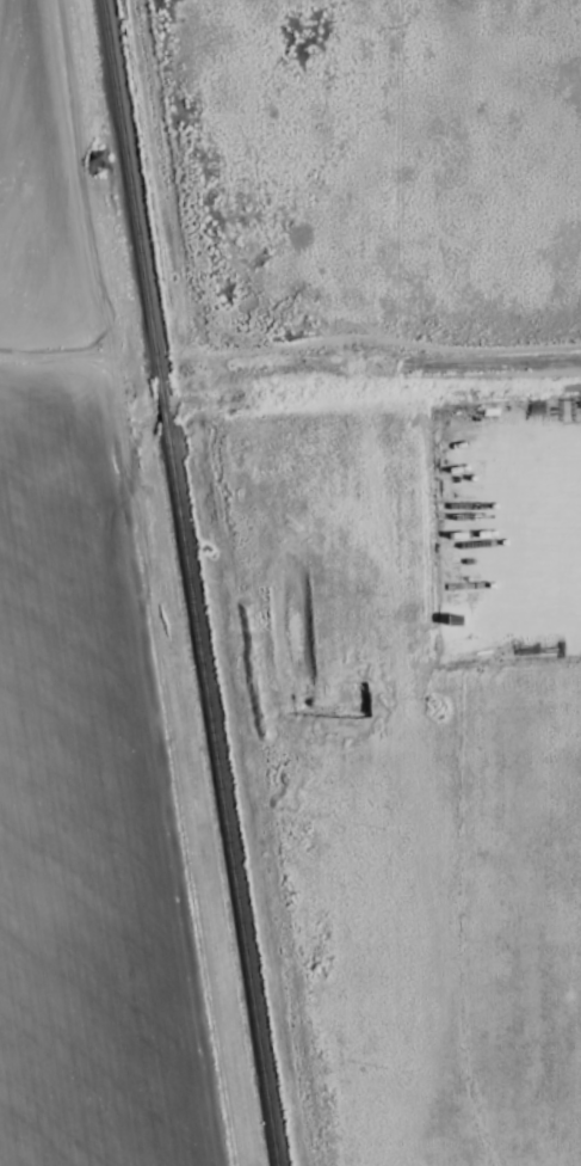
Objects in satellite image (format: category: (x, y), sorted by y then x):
railway: (190, 582)

